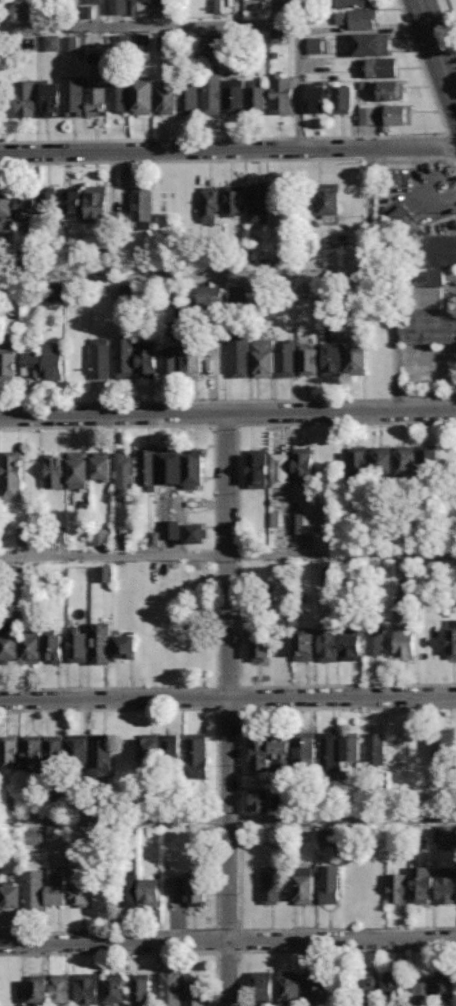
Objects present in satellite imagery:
building: (95, 1)
building: (212, 6)
park: (453, 6)
building: (118, 7)
building: (151, 7)
building: (26, 11)
road: (278, 13)
building: (355, 14)
road: (144, 27)
road: (365, 31)
building: (215, 41)
building: (52, 42)
building: (70, 43)
building: (122, 43)
building: (142, 43)
building: (164, 43)
building: (311, 43)
building: (370, 43)
road: (438, 48)
building: (381, 67)
road: (300, 84)
building: (96, 90)
building: (390, 90)
building: (212, 94)
building: (282, 94)
building: (73, 96)
building: (119, 96)
building: (143, 96)
building: (234, 96)
building: (257, 96)
building: (51, 97)
building: (26, 98)
building: (178, 98)
building: (316, 99)
building: (341, 100)
building: (367, 114)
building: (396, 116)
road: (445, 132)
road: (299, 138)
road: (145, 140)
road: (449, 147)
road: (228, 150)
road: (421, 158)
road: (372, 159)
road: (180, 161)
road: (434, 195)
building: (329, 198)
building: (234, 199)
building: (6, 203)
building: (48, 203)
building: (72, 203)
building: (258, 203)
building: (96, 204)
building: (211, 204)
building: (26, 205)
building: (142, 205)
road: (371, 213)
building: (400, 217)
road: (191, 277)
building: (428, 289)
building: (52, 292)
building: (240, 294)
building: (210, 295)
road: (397, 339)
building: (239, 353)
building: (124, 357)
building: (193, 357)
building: (274, 357)
building: (357, 357)
building: (100, 358)
building: (8, 359)
building: (308, 359)
building: (332, 359)
building: (146, 360)
building: (53, 361)
building: (169, 361)
building: (31, 363)
road: (430, 398)
road: (397, 399)
road: (194, 401)
road: (228, 413)
road: (284, 423)
road: (168, 425)
road: (225, 425)
building: (382, 460)
building: (357, 461)
building: (405, 461)
building: (429, 461)
building: (303, 463)
building: (102, 465)
building: (182, 466)
building: (257, 468)
building: (78, 469)
building: (146, 469)
building: (55, 470)
building: (280, 470)
building: (12, 473)
building: (124, 476)
building: (305, 523)
building: (169, 526)
building: (55, 533)
building: (196, 533)
building: (97, 534)
building: (126, 534)
building: (23, 535)
building: (150, 537)
road: (227, 557)
road: (215, 563)
building: (105, 573)
building: (328, 575)
building: (404, 636)
building: (451, 639)
building: (375, 640)
building: (101, 642)
building: (78, 644)
building: (126, 644)
building: (304, 644)
building: (340, 646)
building: (9, 647)
building: (32, 647)
building: (54, 648)
building: (260, 648)
road: (285, 686)
road: (169, 688)
road: (227, 698)
road: (238, 708)
road: (296, 708)
road: (147, 709)
road: (228, 710)
building: (444, 744)
building: (159, 746)
building: (351, 746)
building: (78, 748)
building: (306, 748)
building: (374, 748)
building: (9, 751)
building: (43, 752)
building: (270, 752)
building: (329, 752)
building: (102, 755)
building: (197, 755)
building: (259, 800)
road: (216, 807)
road: (238, 819)
road: (228, 821)
building: (441, 833)
building: (34, 836)
building: (328, 836)
building: (329, 883)
building: (270, 884)
building: (421, 884)
building: (305, 885)
building: (445, 885)
building: (176, 886)
building: (34, 887)
building: (57, 887)
building: (196, 887)
building: (397, 887)
building: (128, 890)
building: (149, 892)
building: (79, 893)
building: (10, 894)
road: (297, 928)
road: (159, 930)
road: (227, 940)
road: (239, 950)
road: (347, 950)
road: (135, 952)
road: (239, 979)
building: (367, 984)
building: (263, 985)
building: (445, 985)
building: (393, 987)
building: (288, 988)
building: (315, 988)
building: (39, 989)
building: (87, 989)
building: (114, 989)
building: (141, 989)
building: (171, 989)
building: (61, 990)
building: (423, 990)
building: (195, 993)

